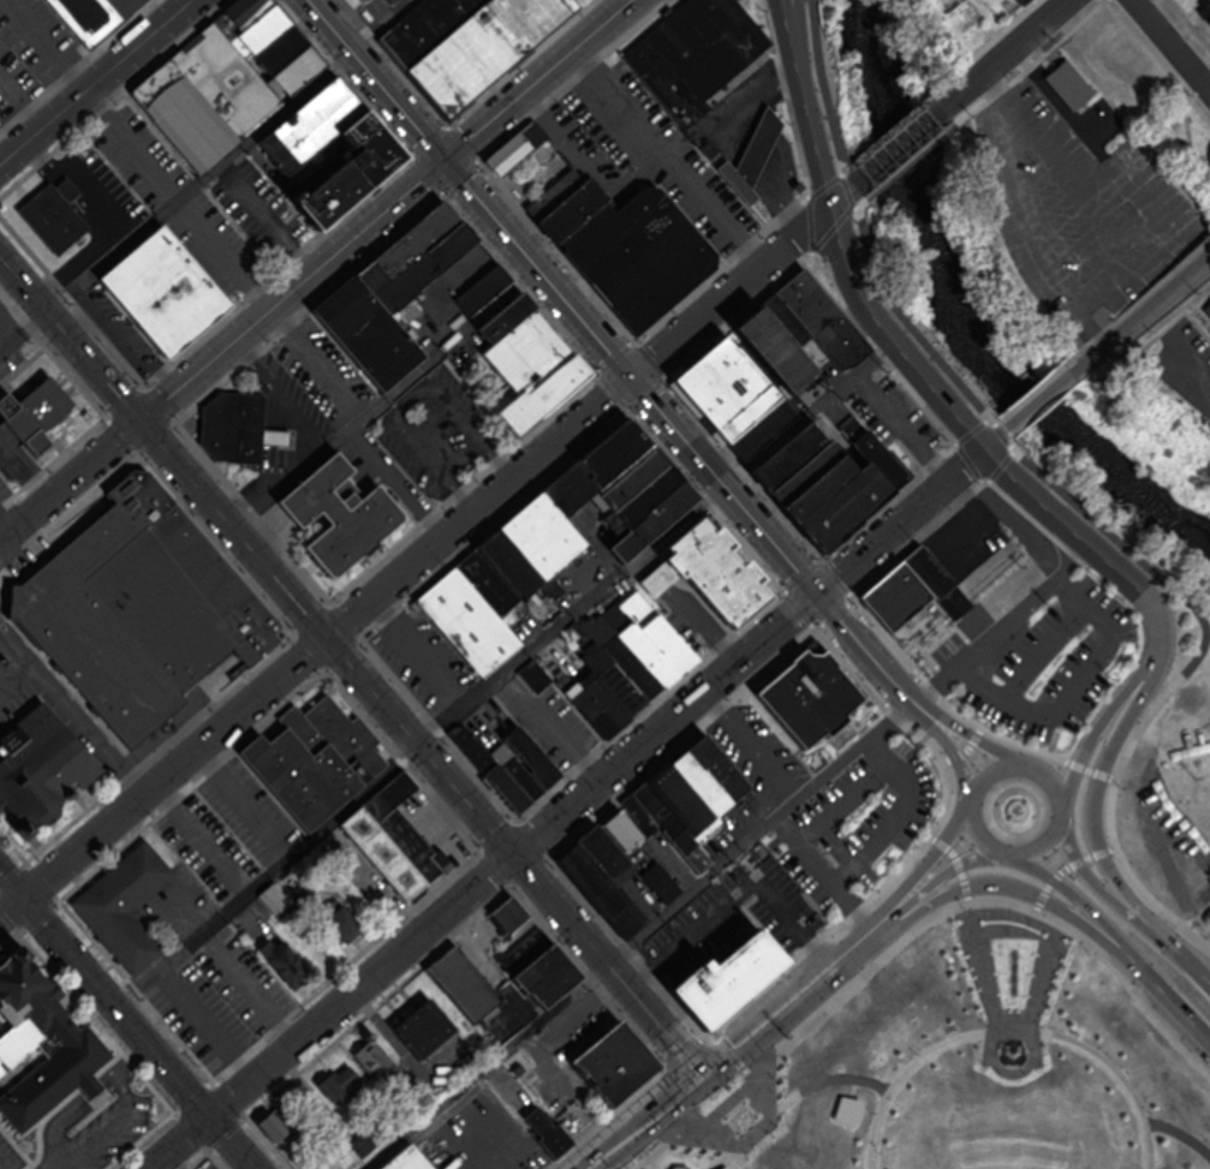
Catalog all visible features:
building: (358, 0)
building: (388, 0)
building: (236, 14)
building: (89, 17)
building: (422, 26)
building: (257, 31)
parking lot: (36, 37)
road: (43, 46)
building: (482, 47)
road: (1169, 48)
building: (275, 52)
building: (692, 53)
road: (1008, 55)
building: (293, 71)
building: (222, 79)
road: (536, 79)
parking lot: (14, 82)
road: (95, 82)
building: (1072, 85)
building: (180, 115)
parking lot: (0, 121)
building: (306, 125)
building: (514, 148)
road: (896, 149)
building: (364, 150)
building: (750, 154)
road: (668, 155)
traffic signals: (443, 159)
road: (204, 174)
park: (530, 174)
building: (64, 187)
parking lot: (100, 187)
building: (552, 192)
road: (94, 193)
building: (326, 197)
parking lot: (174, 198)
road: (177, 199)
parking lot: (256, 207)
building: (570, 208)
building: (49, 216)
road: (266, 216)
road: (93, 225)
building: (412, 238)
building: (447, 244)
building: (637, 254)
building: (395, 279)
road: (739, 280)
building: (451, 281)
building: (479, 287)
building: (161, 290)
road: (561, 297)
building: (1208, 308)
road: (1143, 311)
building: (503, 316)
building: (783, 318)
building: (821, 318)
parking lot: (118, 326)
building: (365, 332)
road: (233, 338)
building: (0, 342)
road: (120, 344)
building: (0, 347)
building: (525, 351)
building: (779, 353)
road: (757, 360)
road: (315, 362)
parking lot: (322, 369)
traffic signals: (630, 376)
building: (719, 380)
road: (924, 380)
building: (541, 394)
road: (1043, 395)
road: (383, 396)
parking lot: (288, 399)
building: (745, 411)
parking lot: (889, 412)
building: (34, 414)
traffic signals: (138, 419)
building: (231, 425)
building: (759, 427)
road: (899, 428)
road: (833, 434)
building: (273, 436)
road: (61, 452)
building: (871, 452)
building: (789, 453)
building: (596, 466)
building: (803, 471)
building: (631, 478)
road: (394, 482)
parking lot: (2, 489)
road: (1068, 493)
building: (834, 500)
building: (634, 503)
road: (916, 506)
building: (338, 513)
building: (652, 520)
road: (11, 526)
building: (540, 535)
parking lot: (965, 537)
building: (507, 562)
building: (711, 575)
building: (937, 578)
building: (485, 581)
traffic signals: (821, 589)
building: (899, 595)
building: (137, 607)
road: (1011, 616)
road: (675, 619)
building: (466, 621)
road: (0, 628)
traffic signals: (324, 637)
building: (646, 637)
road: (868, 643)
road: (314, 645)
road: (418, 650)
road: (1042, 650)
building: (619, 655)
parking lot: (427, 656)
parking lot: (1055, 656)
road: (348, 666)
building: (604, 668)
road: (501, 673)
road: (16, 674)
building: (532, 675)
building: (1093, 678)
road: (1072, 686)
parking lot: (49, 691)
building: (813, 693)
building: (602, 698)
road: (76, 705)
road: (929, 706)
building: (590, 711)
parking lot: (547, 720)
road: (552, 723)
road: (984, 734)
road: (1091, 734)
road: (750, 742)
parking lot: (761, 747)
building: (529, 757)
building: (542, 757)
building: (312, 758)
road: (960, 759)
park: (1176, 763)
building: (487, 767)
building: (715, 767)
building: (38, 768)
building: (513, 770)
building: (698, 781)
road: (842, 799)
road: (242, 801)
building: (679, 801)
road: (1097, 811)
road: (896, 813)
building: (637, 816)
parking lot: (859, 818)
parking lot: (228, 827)
building: (668, 828)
building: (618, 829)
building: (398, 836)
road: (198, 840)
road: (1043, 841)
traffic signals: (513, 854)
building: (602, 854)
road: (934, 855)
road: (1068, 866)
road: (824, 870)
road: (942, 872)
road: (483, 878)
road: (1011, 879)
road: (1101, 881)
building: (658, 882)
road: (1072, 885)
building: (601, 890)
road: (734, 891)
building: (270, 897)
building: (303, 900)
building: (123, 903)
parking lot: (735, 914)
building: (506, 915)
building: (338, 920)
road: (913, 931)
road: (640, 934)
road: (1184, 950)
building: (285, 959)
road: (977, 965)
building: (725, 974)
road: (1039, 976)
building: (461, 983)
building: (526, 983)
road: (251, 984)
road: (1164, 984)
road: (797, 991)
parking lot: (225, 994)
road: (127, 1022)
road: (207, 1022)
building: (427, 1026)
road: (1013, 1026)
parking lot: (584, 1027)
building: (43, 1044)
fountain: (1011, 1049)
building: (1105, 1055)
building: (618, 1058)
park: (962, 1062)
road: (135, 1063)
building: (372, 1063)
building: (525, 1069)
traffic signals: (701, 1073)
building: (344, 1081)
building: (524, 1093)
road: (788, 1096)
road: (74, 1113)
road: (491, 1116)
building: (282, 1120)
road: (640, 1120)
road: (1180, 1126)
road: (109, 1127)
building: (552, 1129)
parking lot: (478, 1139)
building: (359, 1143)
building: (405, 1159)
road: (171, 1161)
building: (326, 1161)
parking lot: (209, 1162)
road: (60, 1165)

